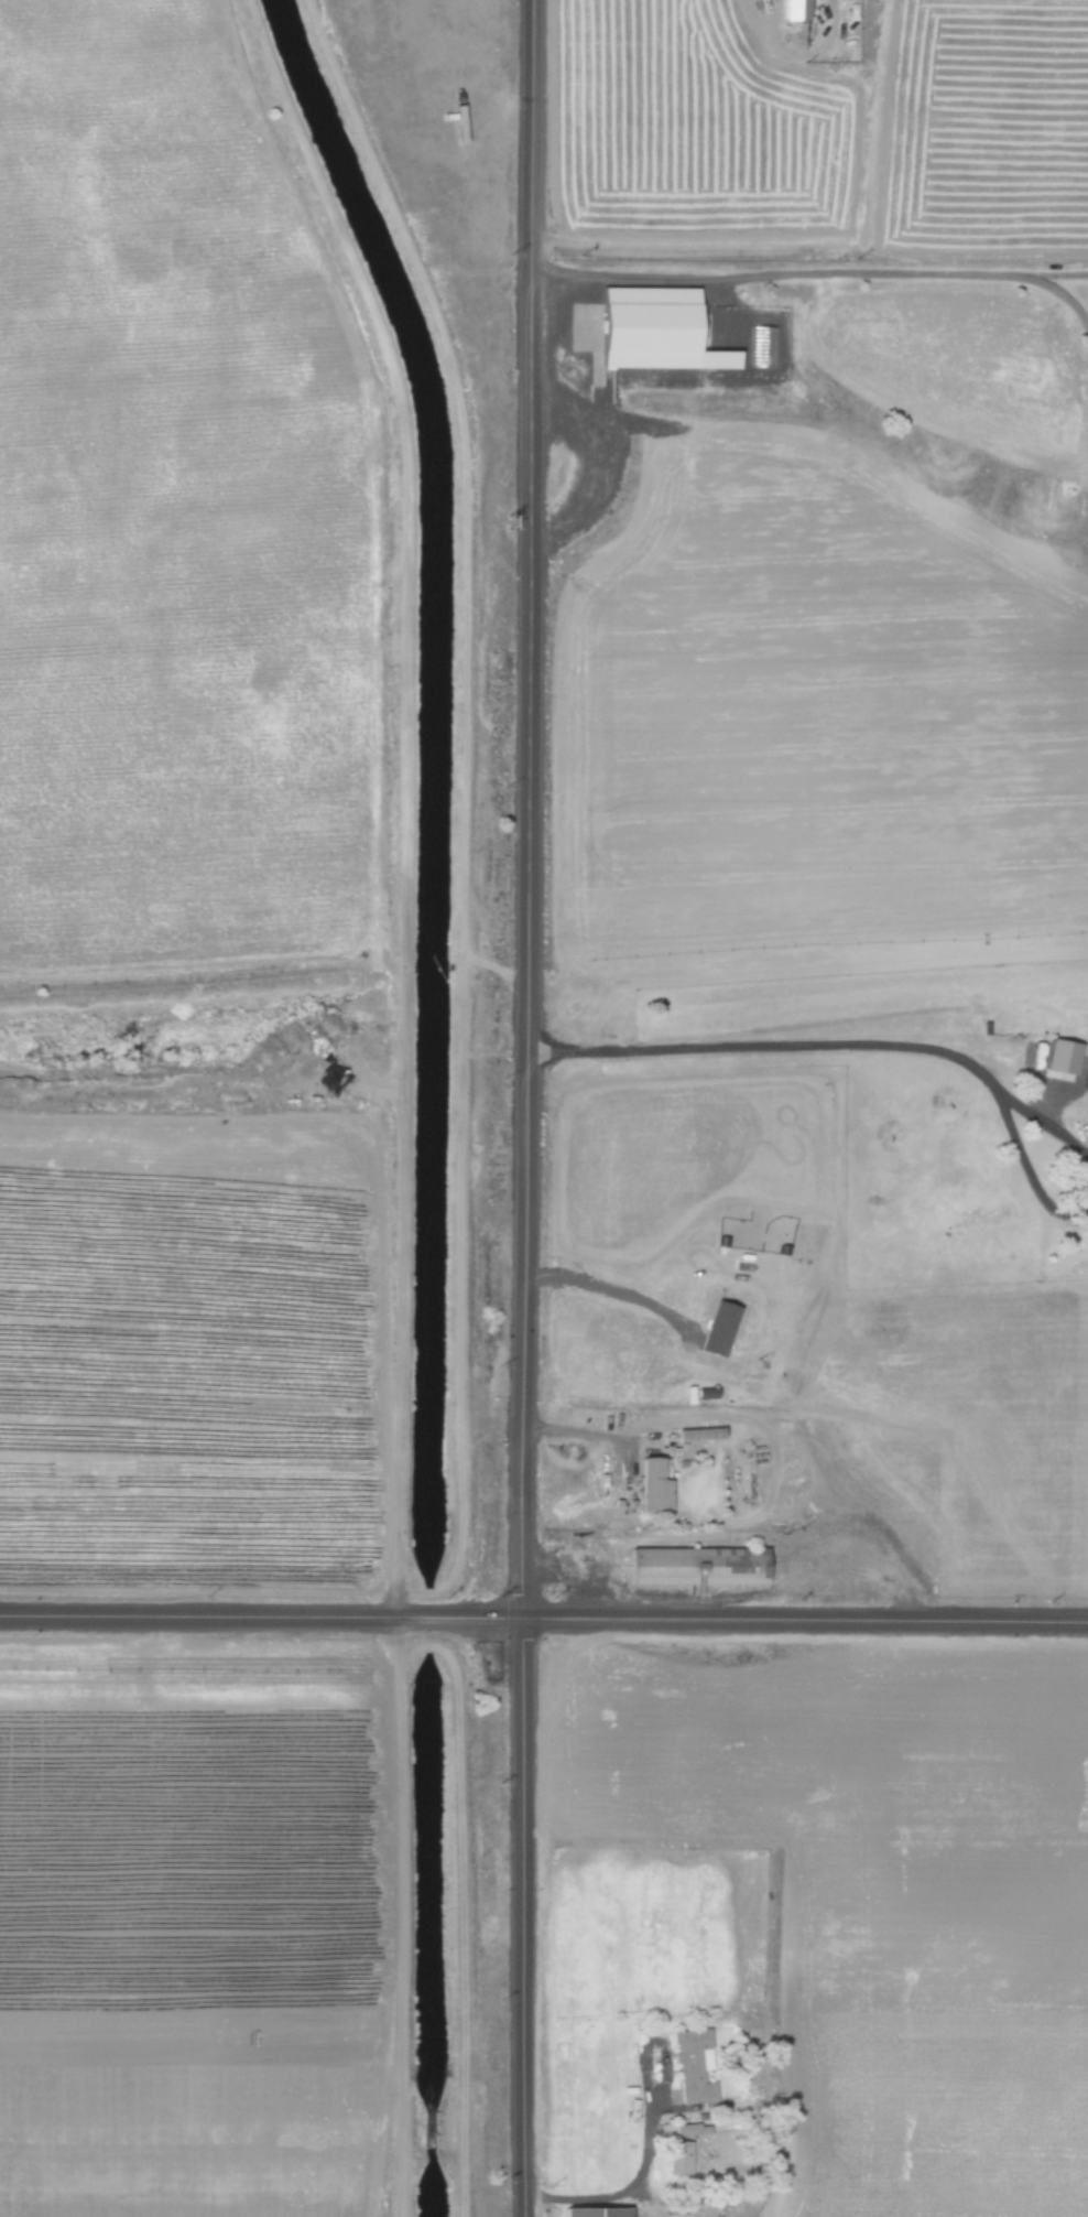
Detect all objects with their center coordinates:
building: (791, 10)
crop: (818, 129)
road: (815, 271)
building: (637, 327)
building: (761, 346)
building: (127, 770)
road: (775, 1045)
road: (395, 1094)
road: (527, 1108)
road: (1046, 1125)
road: (1032, 1168)
road: (576, 1432)
building: (696, 1434)
building: (649, 1484)
building: (694, 1566)
road: (544, 1619)
crop: (881, 1897)
crop: (192, 1925)
building: (692, 2066)
building: (676, 2159)
road: (634, 2178)
building: (590, 2211)

